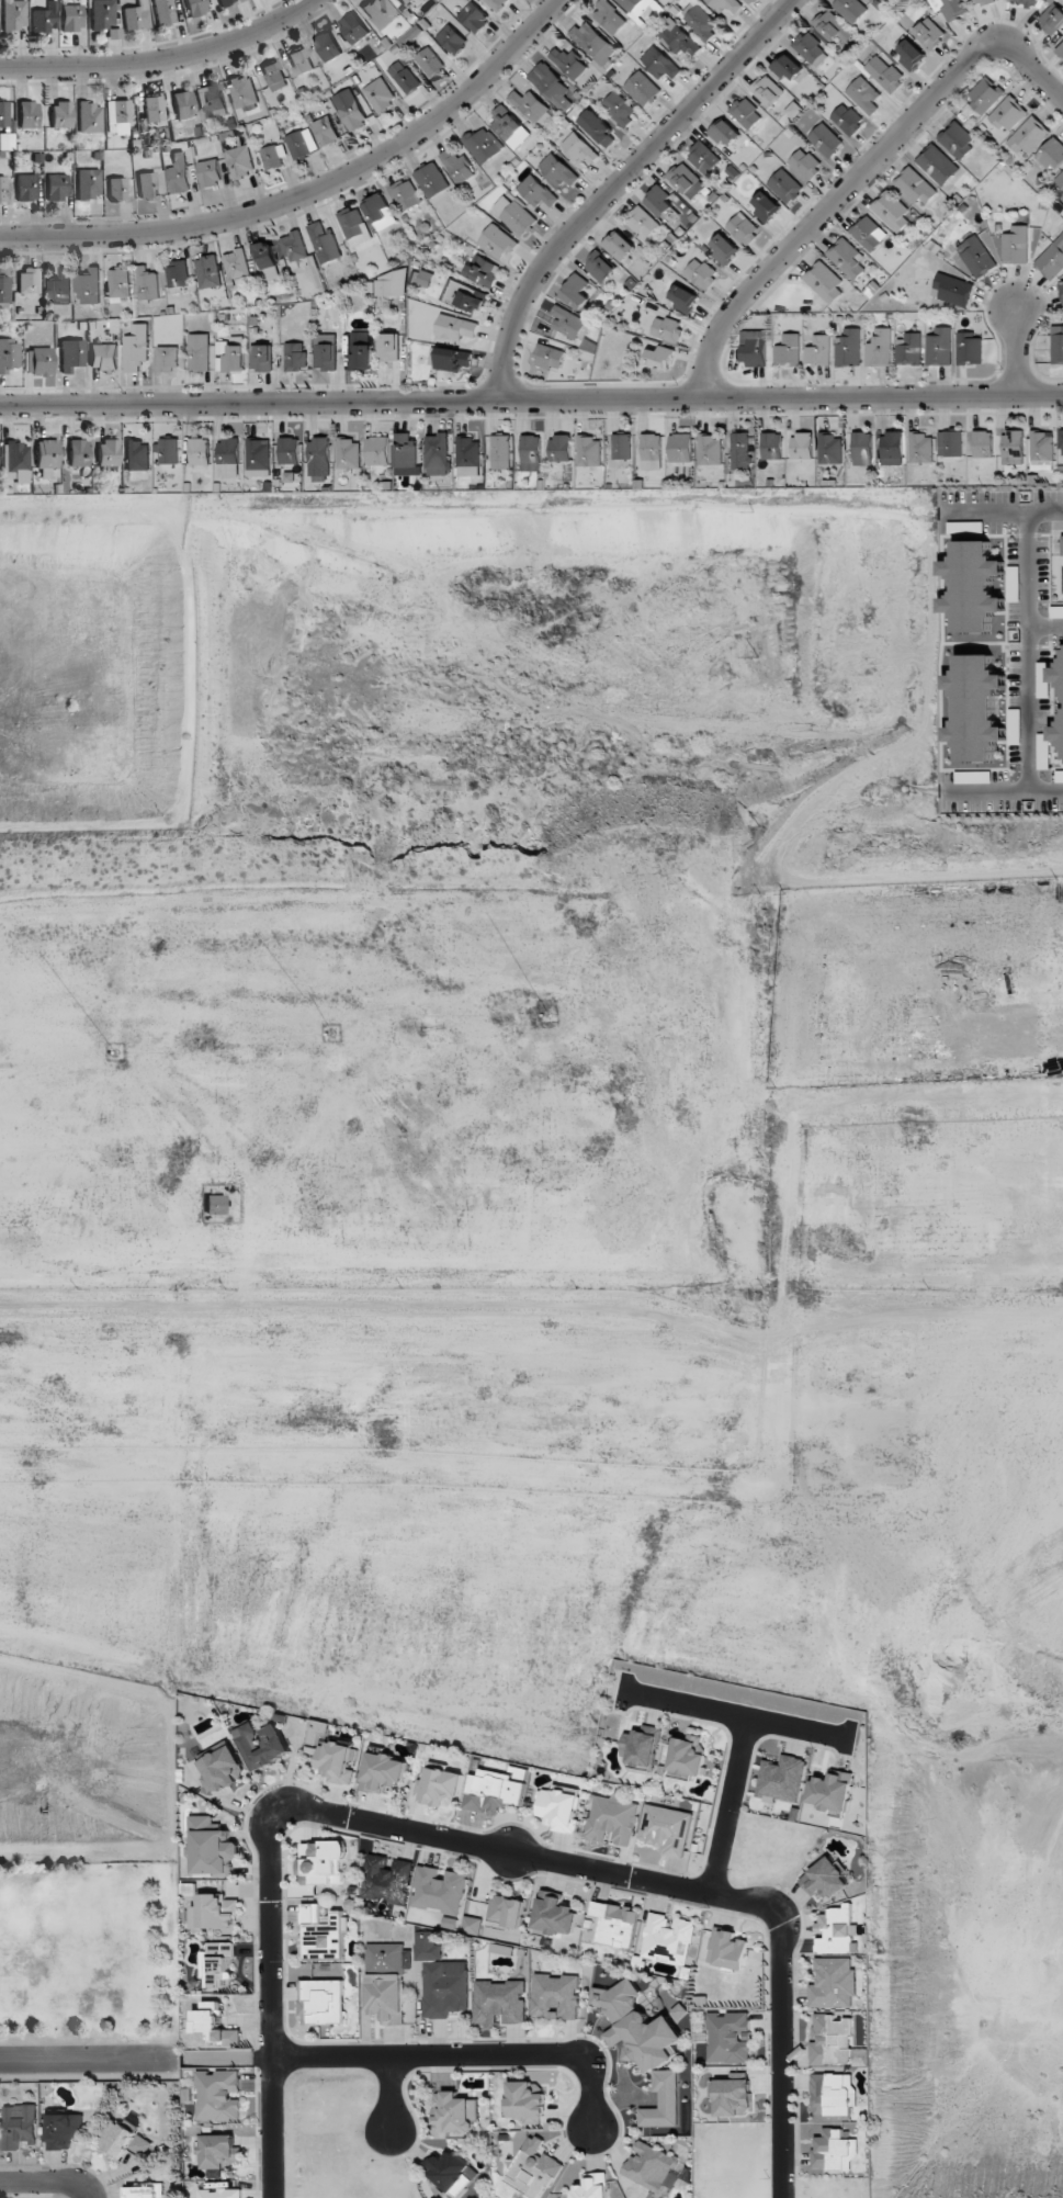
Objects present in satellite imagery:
building: (224, 1)
building: (404, 1)
building: (981, 2)
building: (1025, 2)
building: (495, 3)
building: (636, 4)
building: (724, 4)
building: (195, 7)
building: (950, 8)
building: (850, 9)
building: (163, 12)
building: (380, 12)
building: (103, 13)
building: (13, 14)
building: (136, 16)
building: (610, 16)
building: (45, 18)
building: (70, 18)
building: (474, 18)
building: (1052, 18)
building: (701, 22)
building: (830, 26)
building: (354, 29)
building: (930, 33)
building: (677, 37)
building: (452, 38)
building: (590, 40)
building: (328, 46)
building: (810, 48)
building: (1061, 52)
building: (912, 55)
road: (161, 59)
building: (301, 60)
building: (429, 61)
building: (568, 63)
building: (659, 63)
building: (788, 67)
building: (884, 74)
building: (274, 76)
building: (405, 76)
building: (550, 86)
building: (642, 89)
building: (768, 90)
building: (244, 91)
building: (380, 94)
building: (864, 94)
building: (985, 95)
building: (211, 101)
building: (183, 104)
building: (531, 106)
building: (619, 108)
building: (154, 109)
building: (350, 110)
building: (117, 113)
building: (746, 113)
building: (29, 114)
building: (61, 114)
building: (1008, 114)
building: (90, 117)
building: (847, 119)
building: (509, 127)
building: (598, 128)
building: (326, 131)
building: (726, 133)
building: (1028, 137)
building: (5, 138)
building: (957, 139)
building: (826, 140)
building: (302, 143)
building: (483, 145)
building: (579, 149)
building: (1052, 155)
building: (272, 157)
building: (704, 158)
building: (240, 161)
building: (805, 164)
building: (937, 165)
building: (457, 166)
building: (557, 171)
building: (210, 172)
building: (179, 173)
road: (858, 177)
building: (432, 180)
building: (1060, 180)
building: (687, 181)
building: (89, 183)
road: (620, 183)
building: (147, 185)
building: (57, 187)
building: (785, 187)
building: (915, 187)
building: (26, 188)
building: (2, 189)
building: (117, 189)
building: (536, 192)
road: (313, 193)
building: (406, 194)
building: (661, 203)
building: (766, 206)
building: (891, 211)
building: (380, 212)
building: (514, 215)
building: (643, 222)
building: (355, 228)
building: (743, 228)
building: (868, 233)
building: (497, 241)
building: (325, 243)
building: (1015, 244)
building: (620, 246)
building: (294, 247)
building: (724, 248)
building: (265, 253)
building: (976, 257)
building: (1052, 259)
building: (237, 263)
building: (600, 267)
building: (484, 271)
building: (208, 272)
building: (178, 273)
building: (701, 273)
building: (425, 279)
building: (29, 280)
building: (824, 282)
building: (147, 283)
building: (392, 284)
building: (120, 285)
building: (88, 286)
building: (60, 288)
building: (1061, 288)
building: (4, 289)
building: (952, 290)
building: (576, 291)
building: (465, 296)
building: (685, 300)
building: (569, 323)
building: (455, 327)
building: (667, 328)
building: (1058, 345)
building: (388, 346)
building: (939, 347)
building: (136, 348)
building: (754, 348)
building: (848, 348)
building: (880, 348)
building: (908, 349)
building: (969, 349)
building: (361, 350)
building: (789, 350)
building: (818, 350)
building: (326, 351)
building: (200, 352)
building: (9, 354)
building: (71, 354)
road: (1018, 354)
building: (103, 357)
building: (295, 357)
building: (550, 357)
building: (262, 358)
building: (660, 358)
building: (167, 359)
building: (233, 359)
building: (450, 359)
building: (38, 361)
road: (531, 401)
building: (1061, 441)
building: (950, 443)
building: (983, 444)
building: (771, 446)
building: (802, 446)
building: (622, 447)
building: (1013, 447)
building: (531, 448)
building: (559, 448)
building: (680, 448)
building: (861, 448)
building: (892, 448)
building: (920, 448)
building: (830, 449)
building: (289, 450)
building: (405, 450)
building: (710, 450)
building: (740, 450)
building: (1040, 450)
building: (169, 451)
building: (200, 451)
building: (228, 451)
building: (377, 451)
building: (500, 451)
building: (589, 451)
building: (78, 452)
building: (109, 452)
building: (652, 452)
building: (349, 454)
building: (437, 454)
building: (137, 455)
building: (47, 456)
building: (468, 456)
building: (259, 458)
building: (319, 459)
building: (1062, 544)
building: (973, 586)
building: (1056, 611)
road: (1028, 652)
building: (1058, 675)
building: (1042, 679)
building: (976, 708)
building: (1014, 726)
building: (1058, 732)
building: (1043, 751)
building: (215, 1205)
road: (737, 1716)
building: (261, 1745)
building: (640, 1746)
building: (687, 1757)
building: (335, 1761)
building: (222, 1770)
building: (383, 1772)
building: (782, 1778)
building: (441, 1786)
building: (493, 1791)
building: (830, 1792)
road: (730, 1806)
building: (559, 1807)
building: (612, 1819)
building: (667, 1829)
building: (211, 1848)
building: (323, 1862)
building: (825, 1878)
building: (386, 1879)
road: (677, 1887)
building: (439, 1890)
building: (506, 1912)
building: (216, 1913)
building: (553, 1914)
building: (615, 1924)
building: (837, 1930)
building: (323, 1934)
building: (668, 1938)
building: (428, 1947)
building: (727, 1949)
park: (88, 1953)
building: (385, 1955)
building: (217, 1963)
building: (834, 1983)
building: (445, 1988)
road: (272, 1995)
building: (555, 1996)
building: (386, 1997)
building: (321, 2002)
building: (500, 2002)
building: (215, 2026)
building: (730, 2037)
building: (832, 2040)
building: (645, 2048)
road: (465, 2056)
road: (90, 2060)
building: (832, 2094)
building: (218, 2095)
road: (391, 2095)
building: (732, 2097)
building: (454, 2114)
building: (19, 2126)
building: (64, 2130)
building: (122, 2141)
building: (834, 2150)
building: (219, 2151)
building: (654, 2168)
building: (533, 2169)
building: (452, 2172)
road: (46, 2183)
building: (592, 2186)
building: (143, 2190)
building: (218, 2190)

